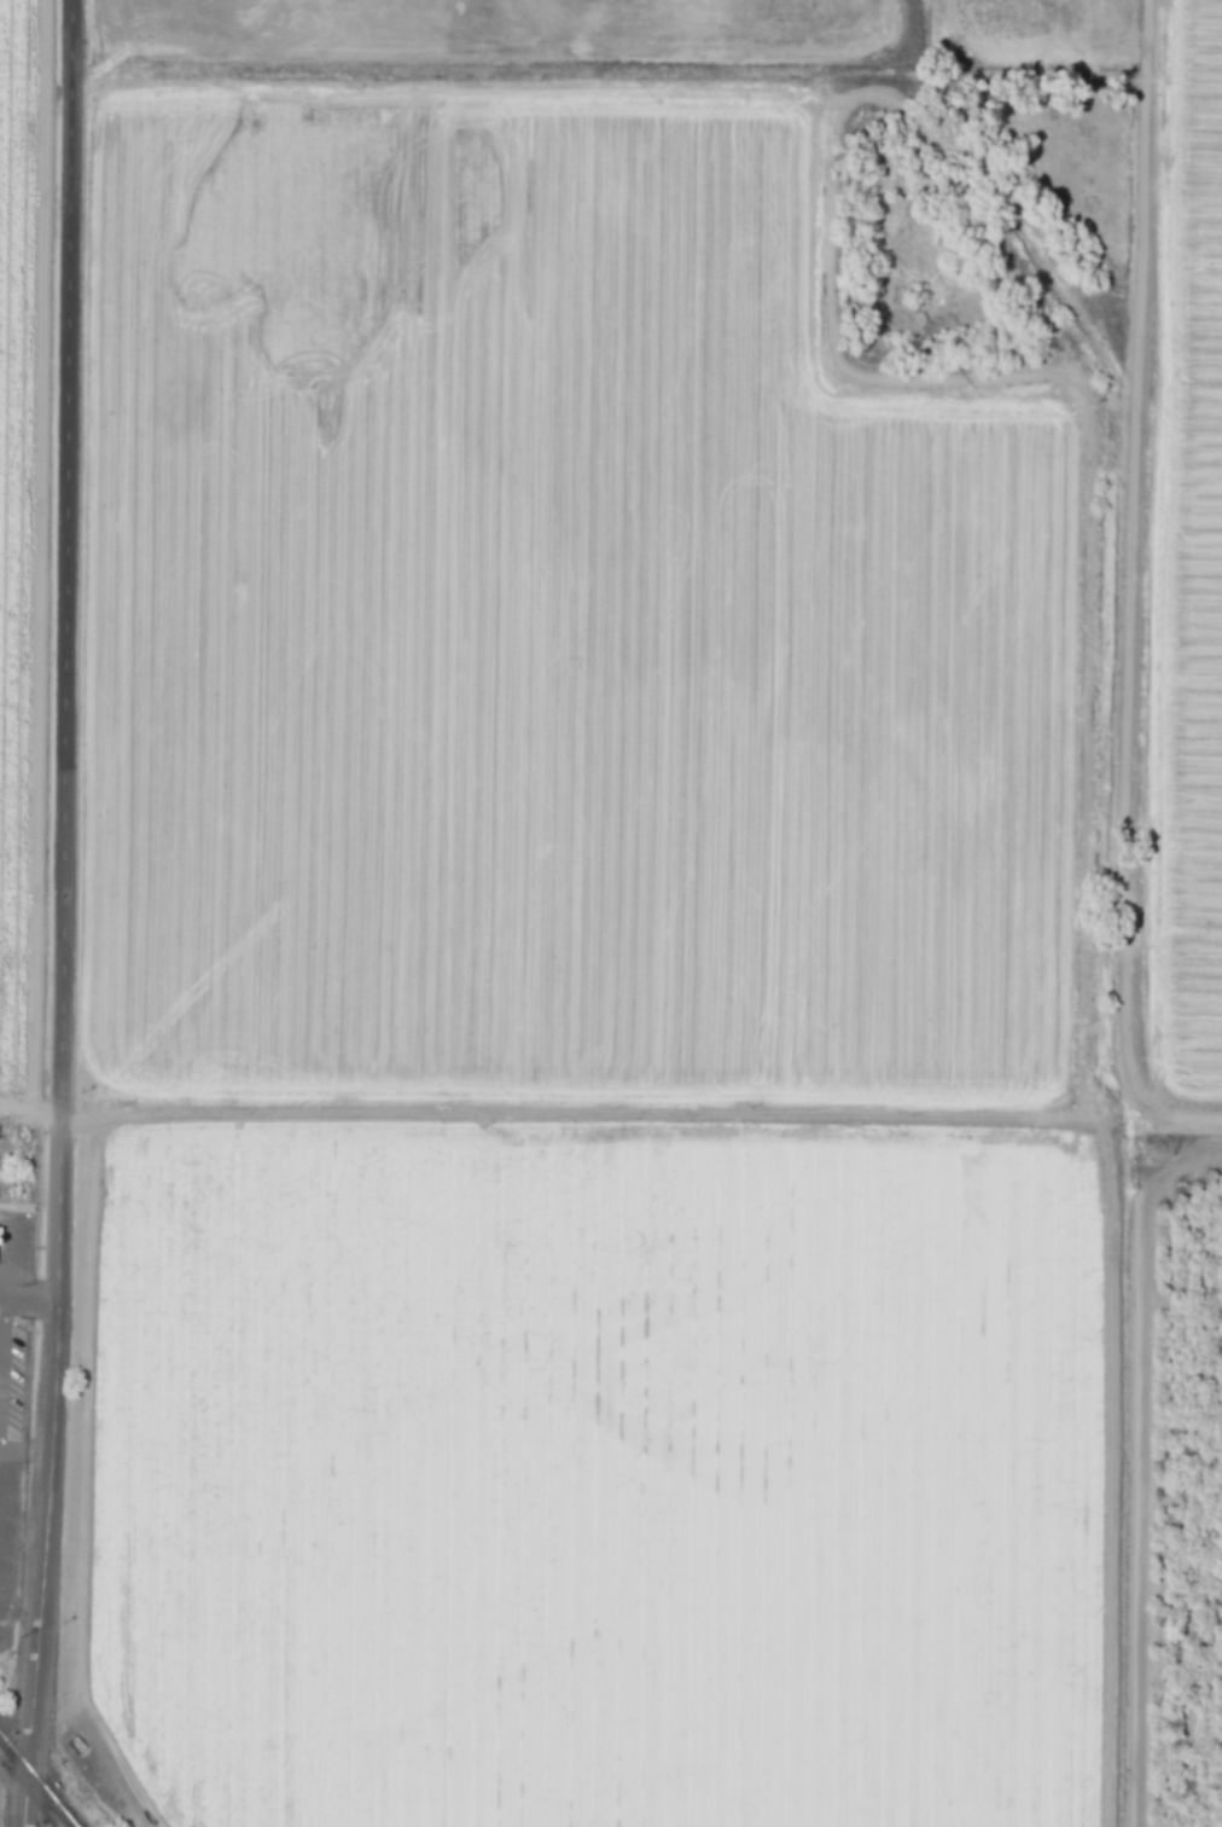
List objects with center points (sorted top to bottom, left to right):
road: (448, 94)
road: (66, 913)
road: (31, 1125)
road: (6, 1254)
road: (1, 1297)
road: (29, 1299)
road: (1, 1344)
road: (24, 1452)
railway: (29, 1791)

